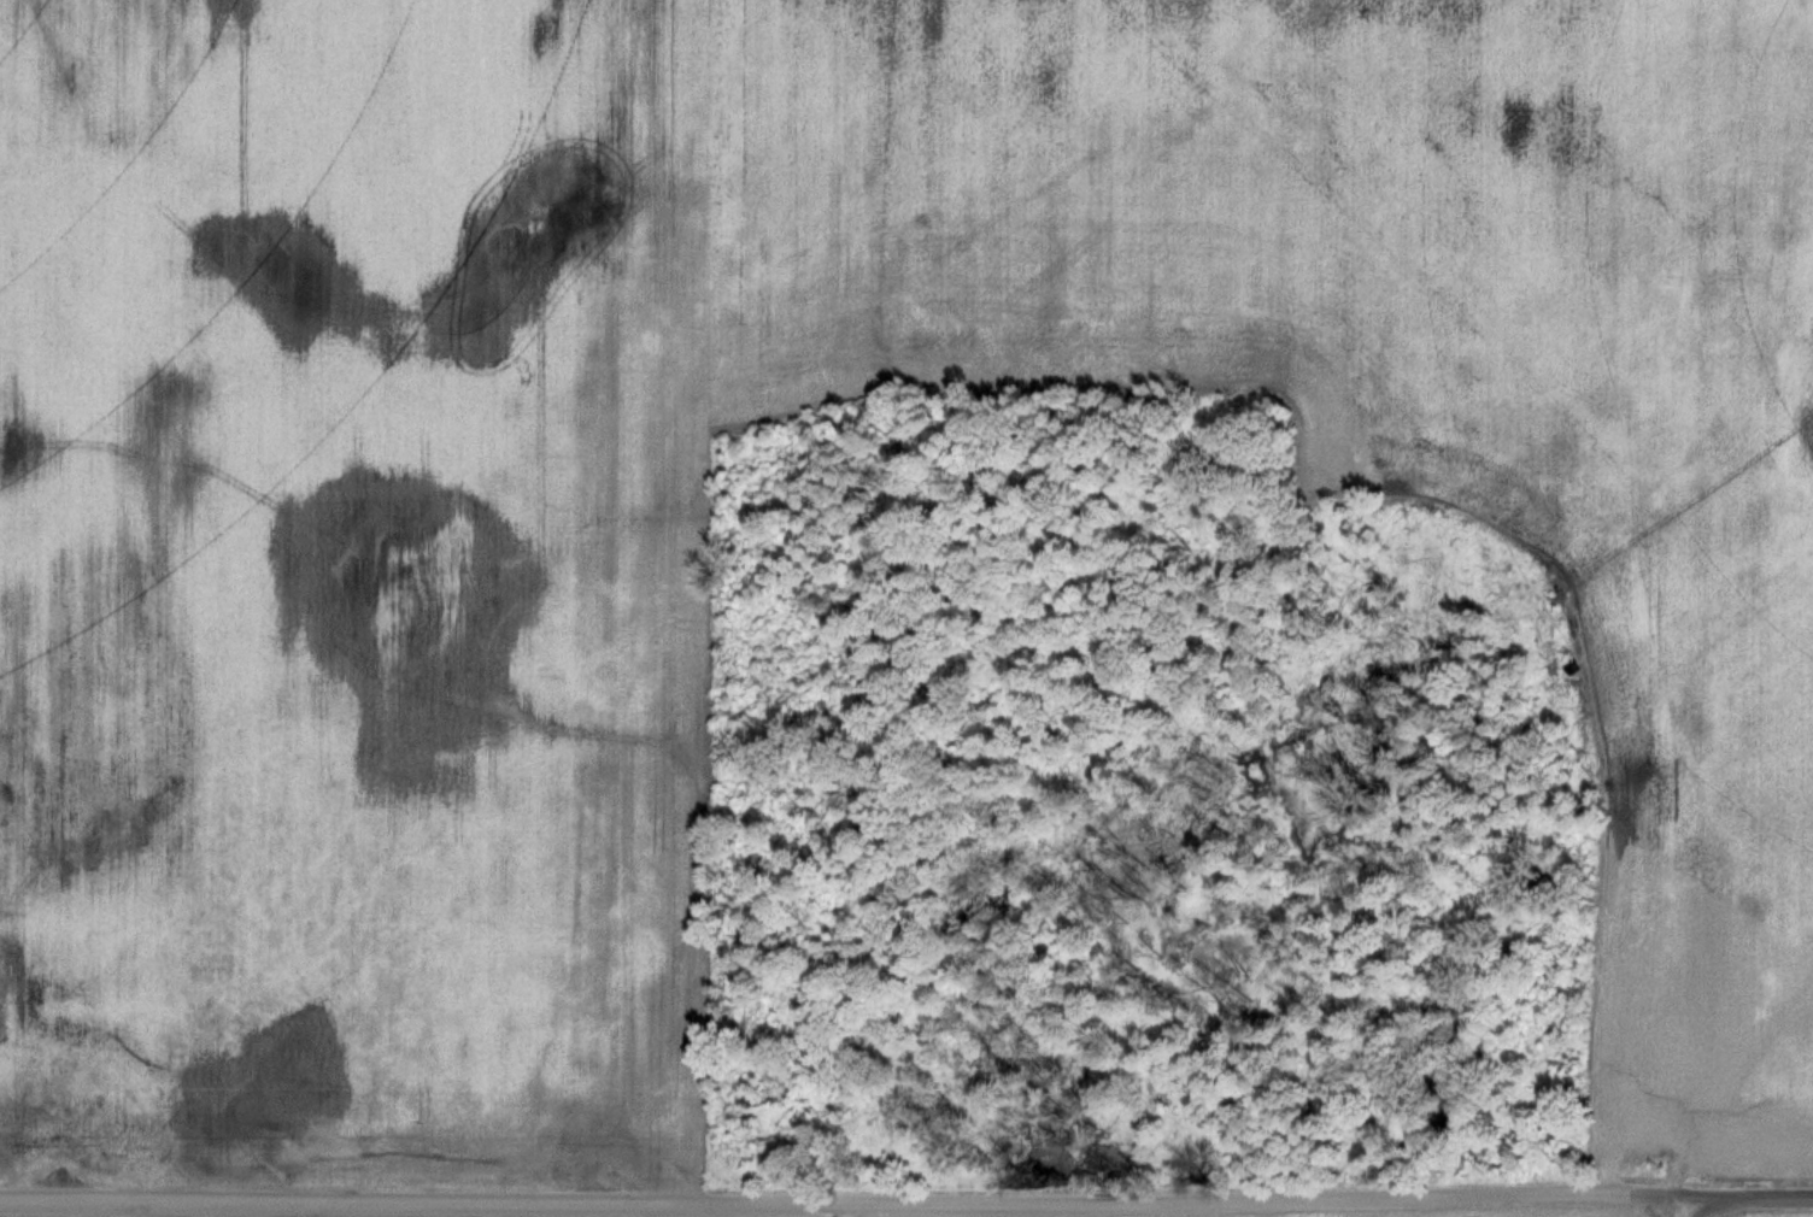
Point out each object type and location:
road: (906, 1204)
road: (1696, 1209)
road: (841, 1211)

